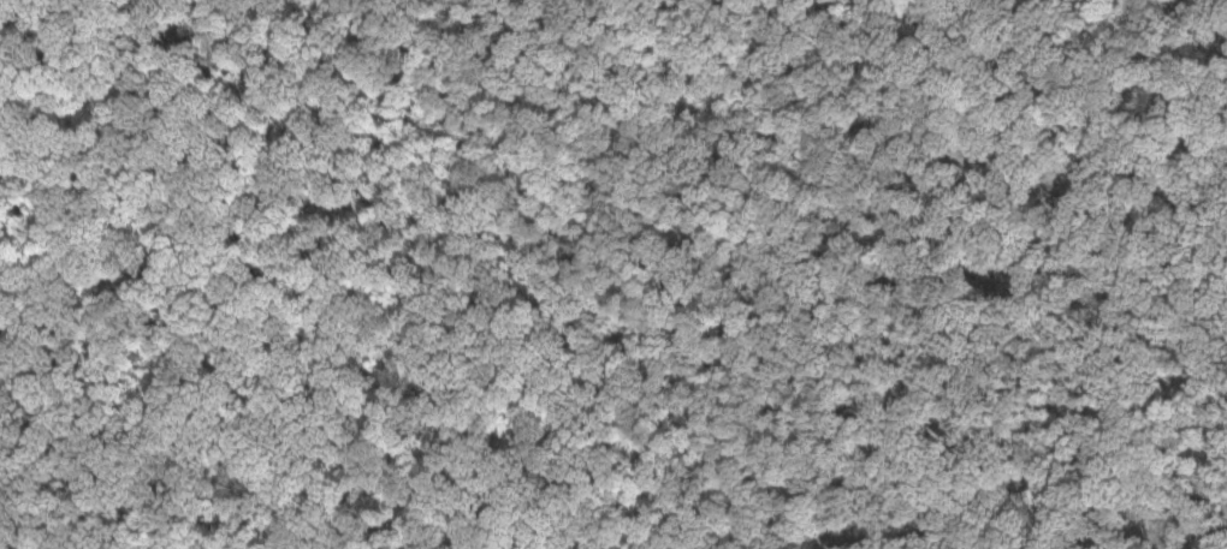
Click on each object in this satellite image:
road: (57, 424)

